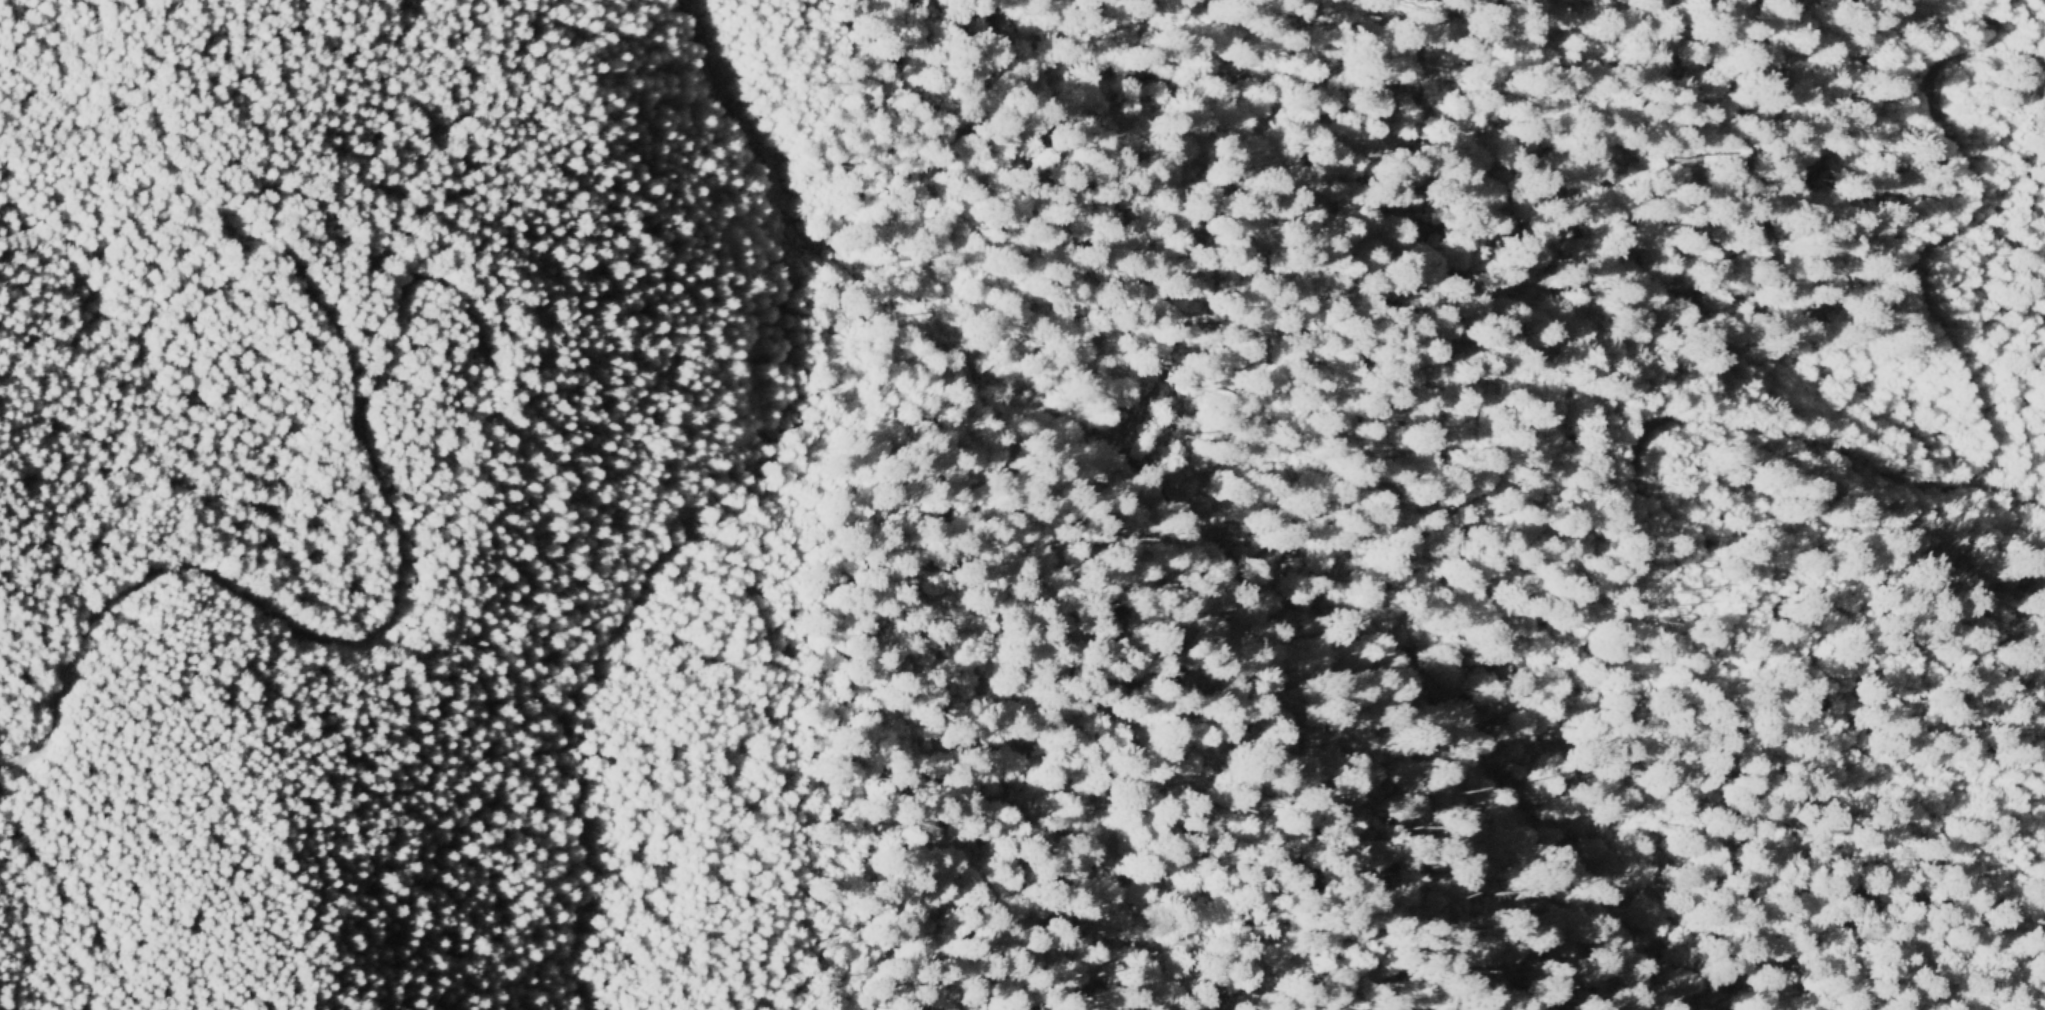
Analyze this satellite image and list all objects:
road: (1705, 433)
road: (224, 670)

